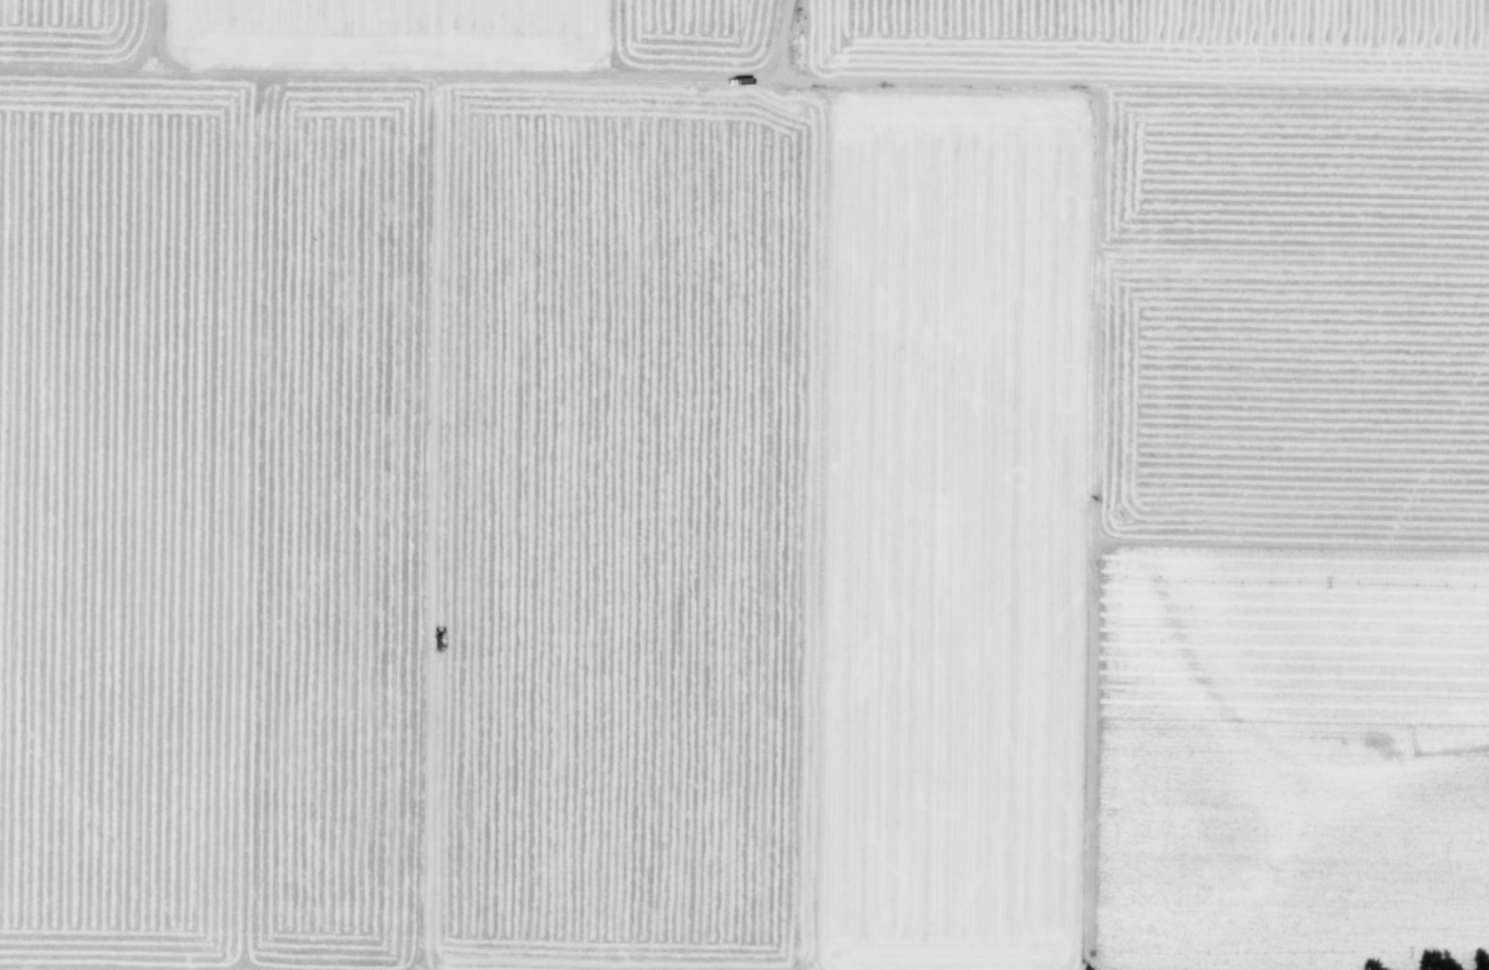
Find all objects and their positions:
crop: (744, 485)

